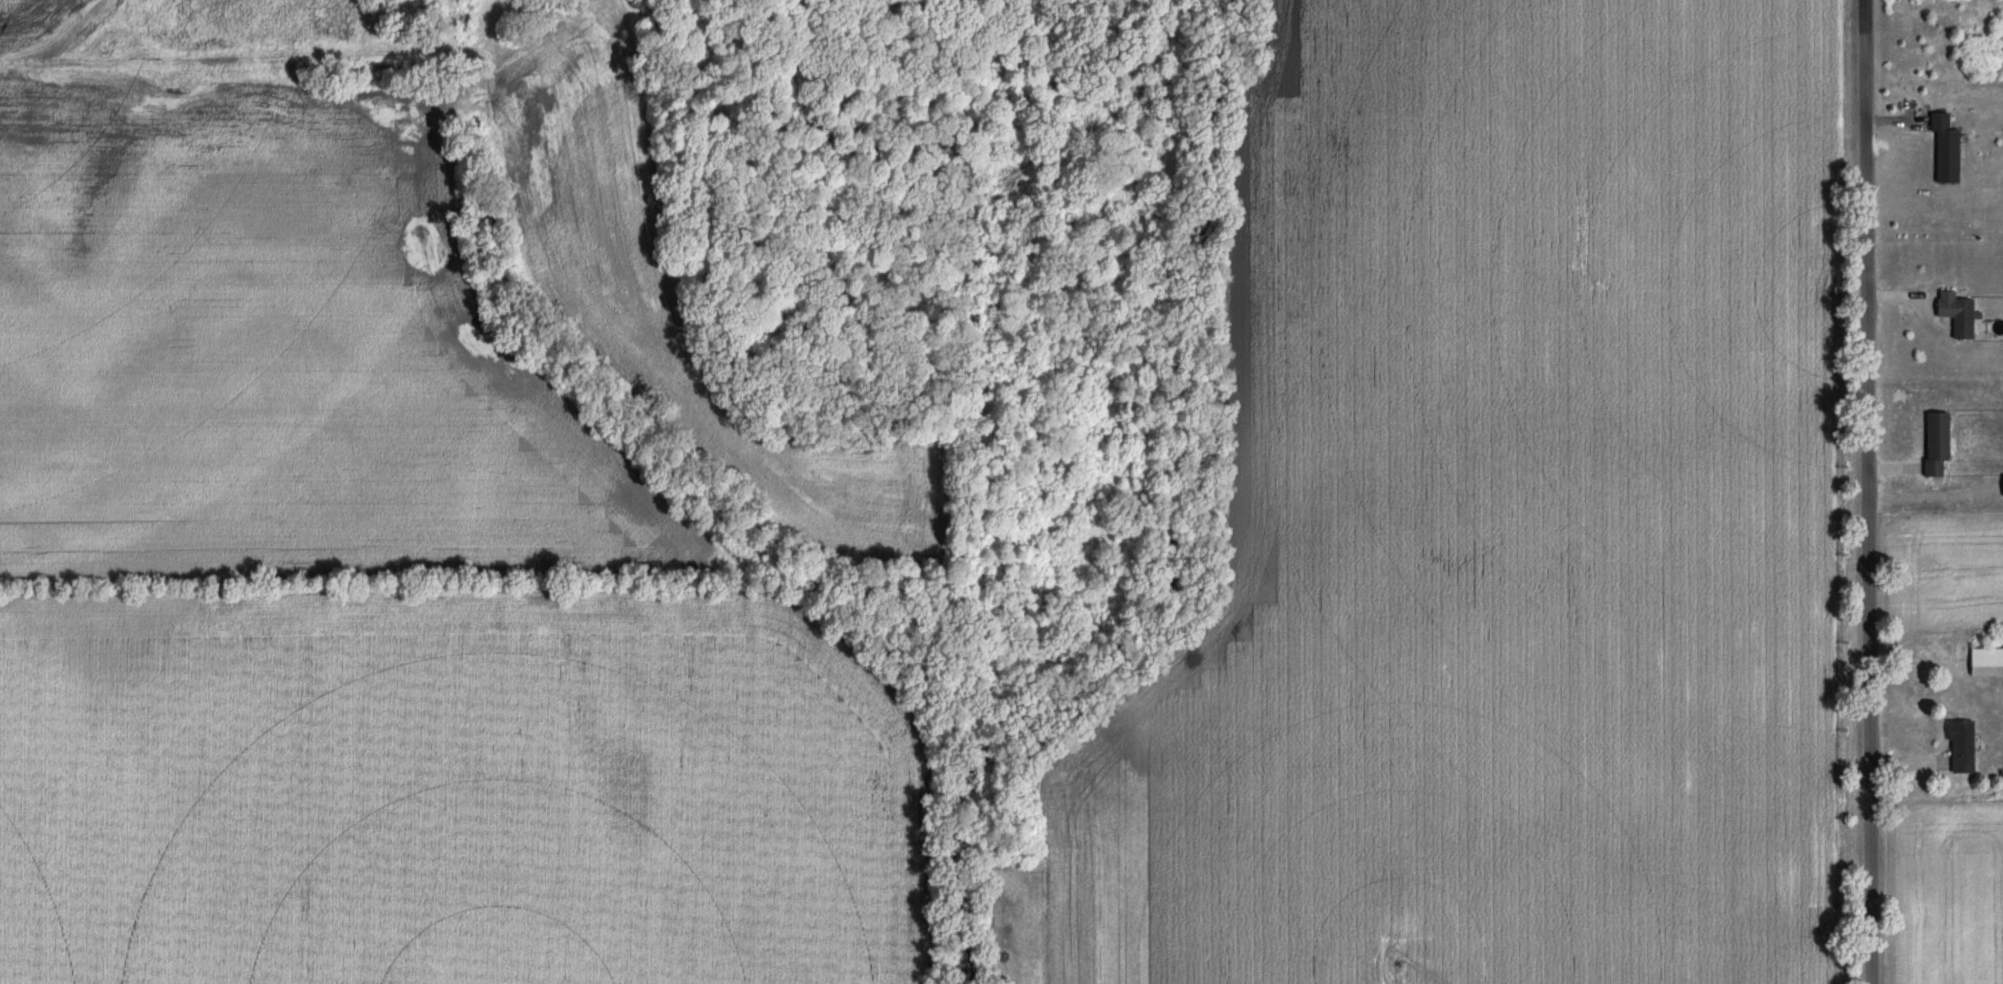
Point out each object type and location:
building: (1942, 150)
building: (1953, 315)
building: (1933, 444)
building: (2001, 486)
road: (1872, 492)
building: (1984, 663)
building: (1958, 748)

